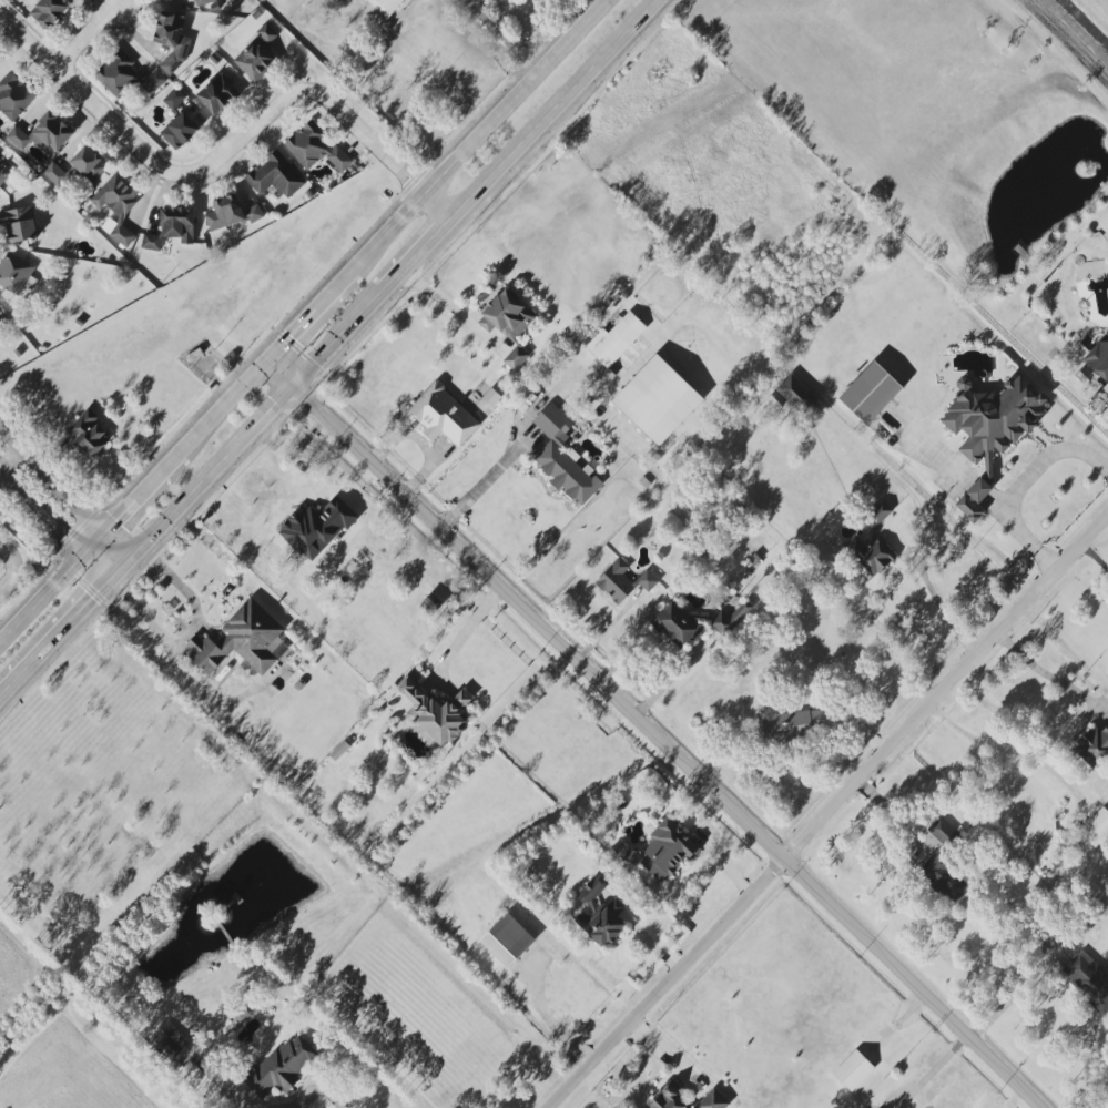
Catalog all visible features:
building: (166, 0)
building: (203, 2)
building: (386, 6)
building: (48, 12)
road: (85, 34)
building: (171, 40)
building: (256, 55)
building: (125, 75)
building: (217, 94)
building: (13, 96)
building: (174, 99)
road: (559, 109)
building: (179, 131)
building: (42, 134)
building: (315, 148)
road: (227, 150)
building: (89, 164)
building: (4, 172)
building: (54, 174)
building: (275, 176)
building: (115, 205)
building: (230, 213)
building: (19, 224)
building: (172, 228)
road: (418, 256)
building: (13, 272)
road: (454, 308)
building: (0, 312)
building: (506, 316)
road: (306, 321)
building: (616, 339)
building: (515, 358)
building: (1099, 359)
building: (870, 393)
building: (795, 395)
building: (657, 399)
building: (765, 411)
building: (443, 416)
building: (992, 418)
road: (255, 427)
building: (89, 431)
building: (563, 457)
road: (8, 460)
road: (482, 480)
building: (978, 490)
road: (1016, 491)
road: (63, 495)
building: (968, 508)
road: (53, 523)
building: (316, 528)
building: (872, 543)
road: (1097, 558)
road: (13, 567)
road: (120, 569)
building: (622, 581)
road: (935, 597)
building: (728, 620)
building: (675, 624)
road: (470, 626)
road: (55, 637)
building: (240, 640)
road: (173, 642)
building: (277, 648)
road: (1045, 673)
building: (435, 711)
building: (791, 724)
road: (658, 734)
building: (1094, 745)
road: (830, 816)
road: (897, 817)
building: (1096, 827)
building: (942, 831)
building: (667, 850)
building: (943, 878)
building: (591, 890)
building: (602, 923)
road: (627, 937)
building: (507, 941)
building: (1089, 979)
road: (1018, 994)
building: (172, 1045)
road: (667, 1056)
building: (279, 1068)
building: (853, 1070)
road: (934, 1070)
road: (317, 1088)
building: (669, 1096)
building: (712, 1100)

